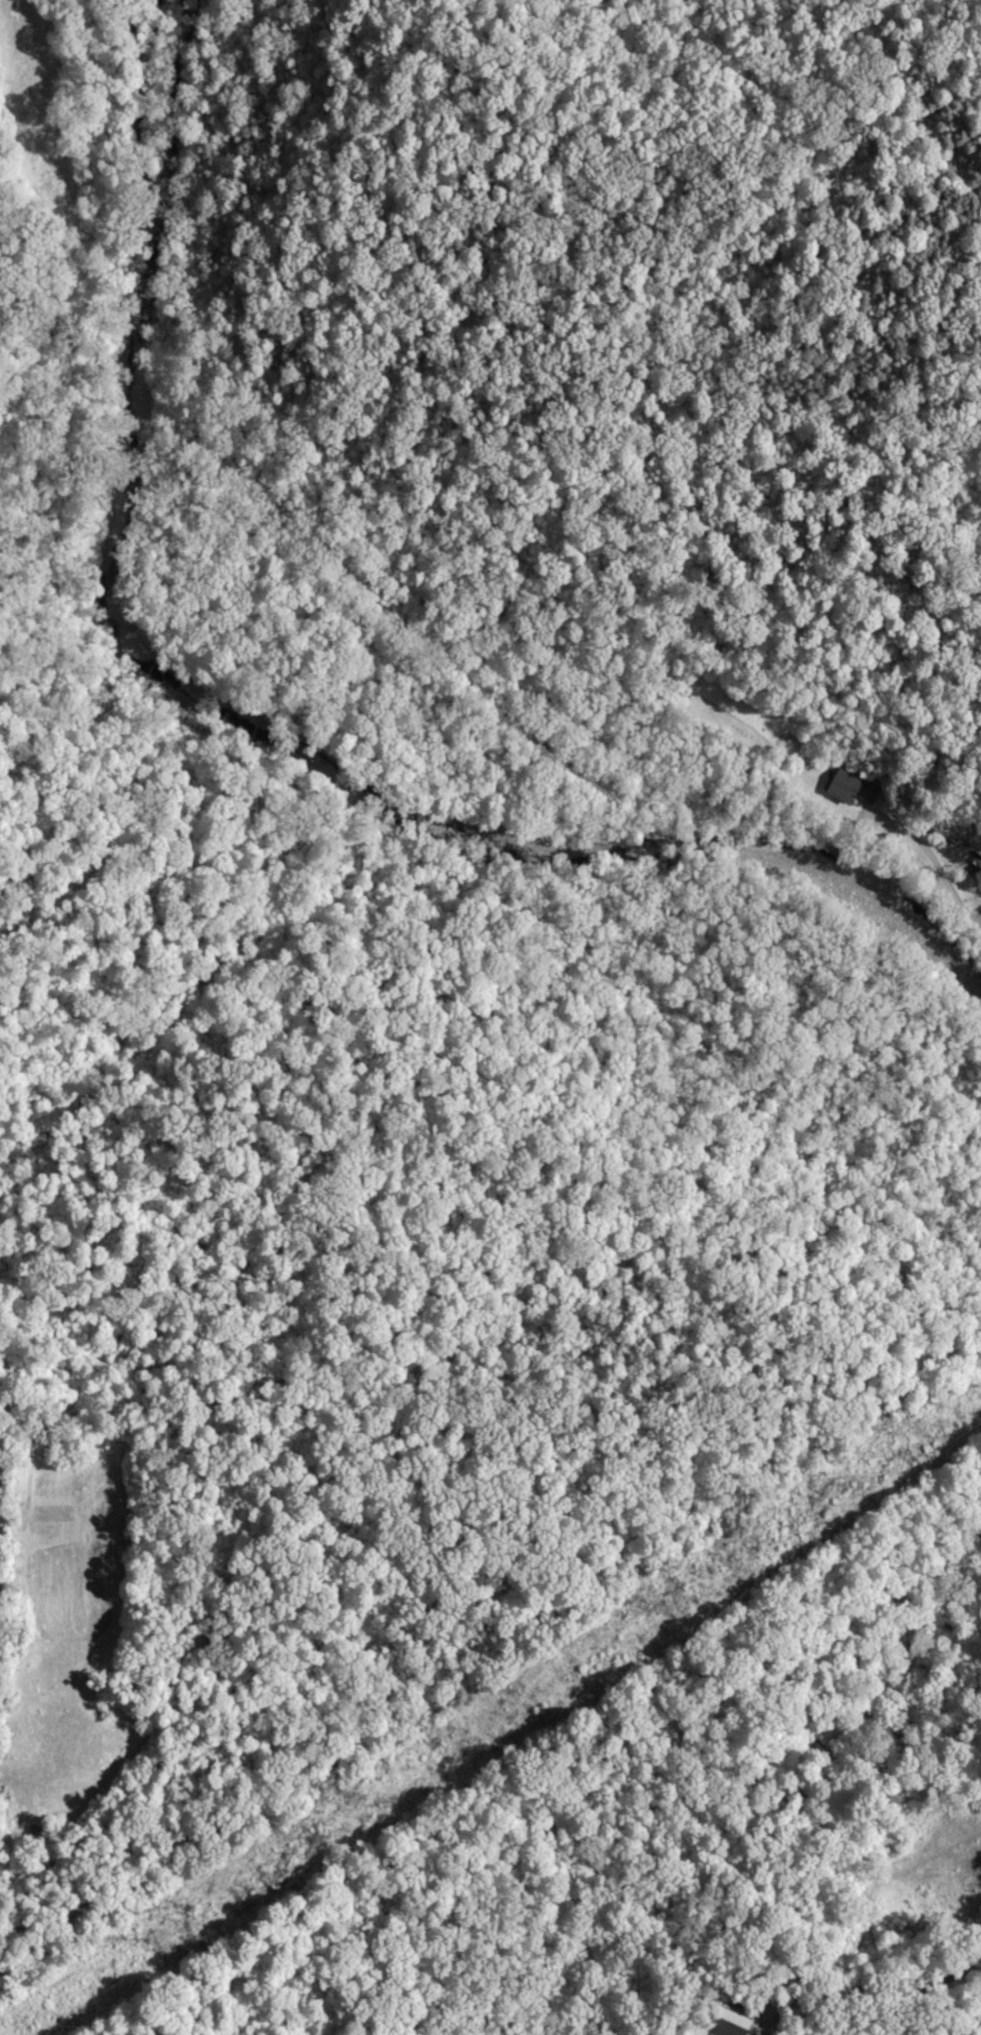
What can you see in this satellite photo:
building: (856, 788)
road: (908, 944)
power tower: (674, 1603)
power tower: (154, 1940)
building: (730, 2022)

